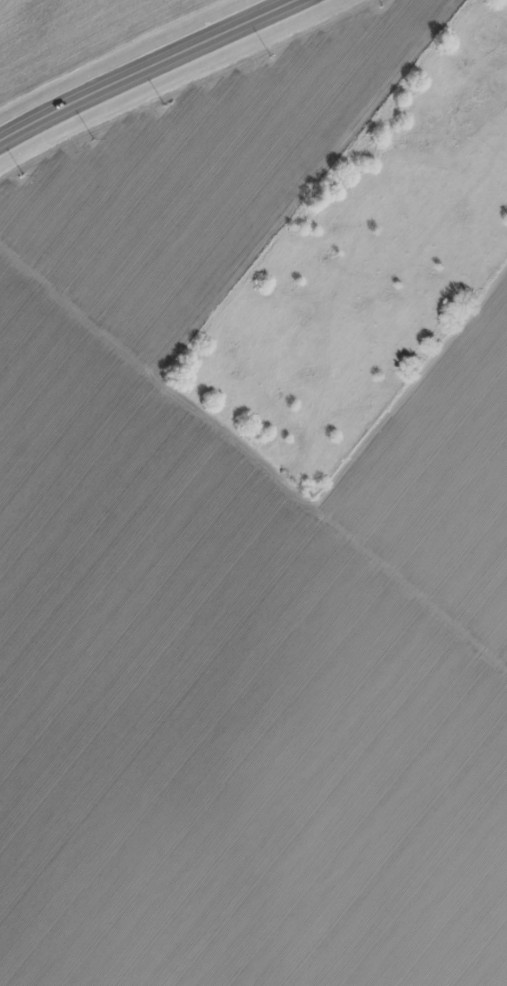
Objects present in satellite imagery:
road: (149, 69)
crop: (240, 576)

